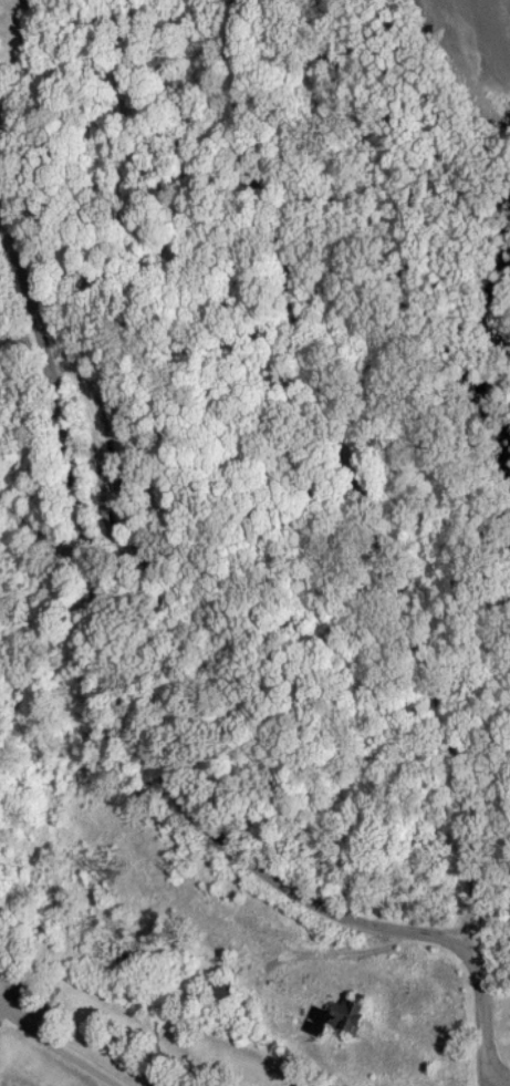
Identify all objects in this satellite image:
road: (362, 484)
road: (39, 542)
road: (144, 757)
building: (331, 1016)

